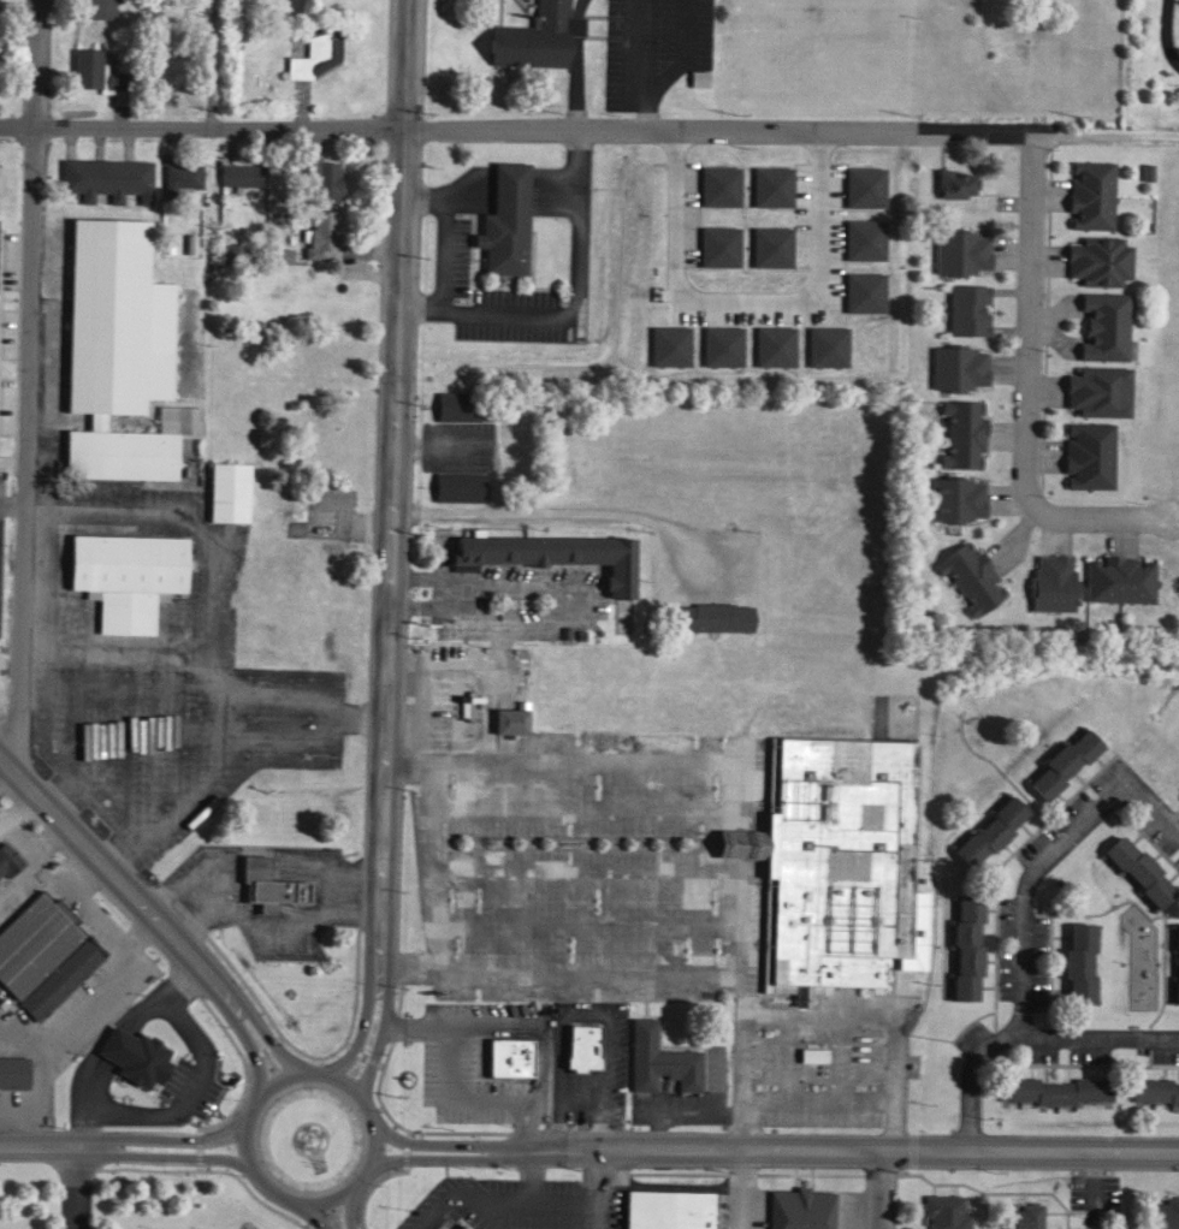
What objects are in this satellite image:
road: (1168, 32)
building: (537, 41)
building: (316, 48)
road: (211, 64)
building: (96, 72)
road: (16, 129)
road: (452, 133)
road: (953, 135)
road: (1104, 146)
building: (238, 172)
building: (105, 176)
building: (179, 176)
building: (953, 182)
building: (719, 183)
building: (770, 183)
road: (401, 184)
building: (864, 184)
building: (1089, 191)
building: (506, 222)
building: (320, 232)
building: (864, 236)
building: (718, 243)
building: (770, 244)
building: (959, 249)
road: (443, 250)
building: (279, 251)
building: (1097, 257)
building: (863, 289)
road: (576, 290)
road: (745, 295)
building: (965, 308)
building: (1102, 323)
building: (669, 343)
building: (721, 343)
building: (774, 344)
building: (825, 344)
building: (120, 357)
building: (956, 366)
road: (24, 387)
building: (1096, 388)
road: (1023, 390)
building: (457, 408)
building: (961, 432)
road: (439, 445)
building: (1086, 452)
building: (457, 486)
building: (226, 492)
building: (955, 497)
road: (11, 501)
road: (555, 509)
building: (552, 554)
building: (968, 574)
road: (419, 576)
building: (123, 577)
building: (1118, 577)
building: (1050, 581)
road: (449, 590)
road: (558, 601)
road: (417, 604)
building: (709, 613)
road: (385, 672)
building: (433, 695)
road: (488, 711)
building: (511, 719)
building: (1059, 760)
building: (987, 829)
building: (7, 857)
road: (1042, 857)
road: (436, 862)
building: (833, 862)
road: (103, 866)
building: (1136, 867)
road: (630, 872)
building: (261, 884)
building: (964, 944)
building: (43, 952)
building: (1076, 960)
building: (1175, 962)
road: (673, 973)
road: (859, 1017)
road: (256, 1021)
road: (238, 1031)
road: (362, 1032)
road: (1025, 1037)
road: (377, 1038)
building: (582, 1047)
building: (811, 1051)
building: (134, 1055)
building: (658, 1057)
building: (509, 1058)
building: (14, 1071)
road: (300, 1071)
building: (1054, 1087)
building: (1154, 1088)
road: (841, 1100)
road: (173, 1138)
road: (432, 1142)
road: (49, 1144)
road: (839, 1153)
road: (178, 1154)
road: (432, 1157)
road: (531, 1176)
road: (72, 1186)
road: (592, 1191)
road: (739, 1191)
road: (879, 1191)
road: (497, 1199)
road: (350, 1209)
building: (798, 1209)
building: (666, 1210)
building: (943, 1211)
building: (1162, 1212)
road: (499, 1215)
building: (1021, 1215)
road: (310, 1216)
building: (460, 1227)
building: (440, 1228)

